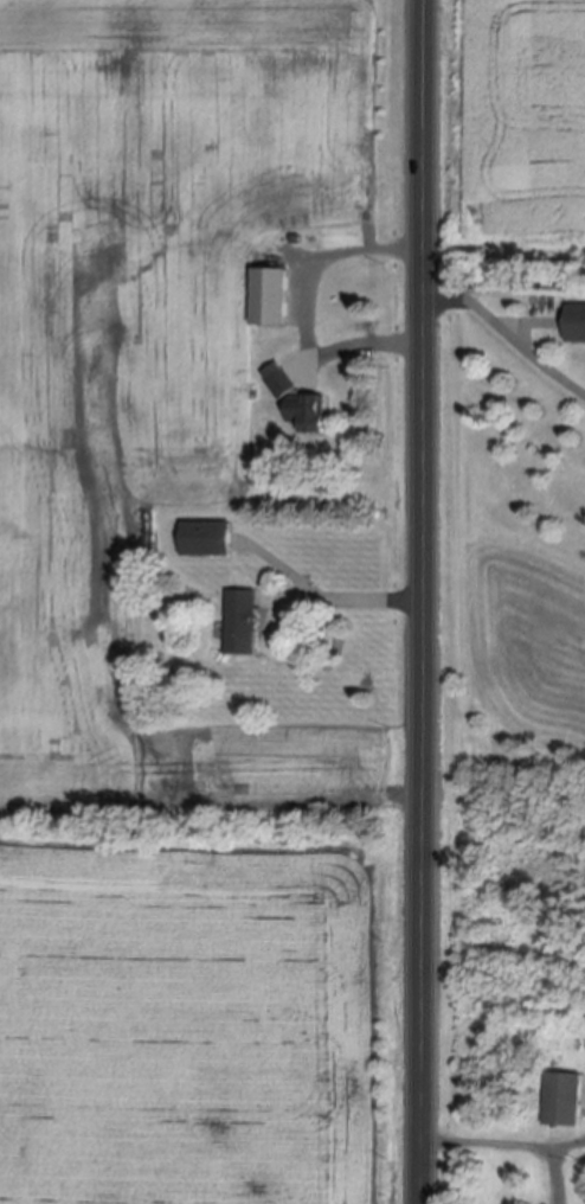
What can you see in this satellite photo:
road: (506, 282)
building: (275, 301)
road: (313, 309)
building: (578, 328)
road: (508, 332)
building: (287, 388)
building: (314, 417)
building: (210, 540)
road: (351, 595)
road: (424, 601)
building: (244, 625)
building: (566, 1102)
road: (504, 1138)

